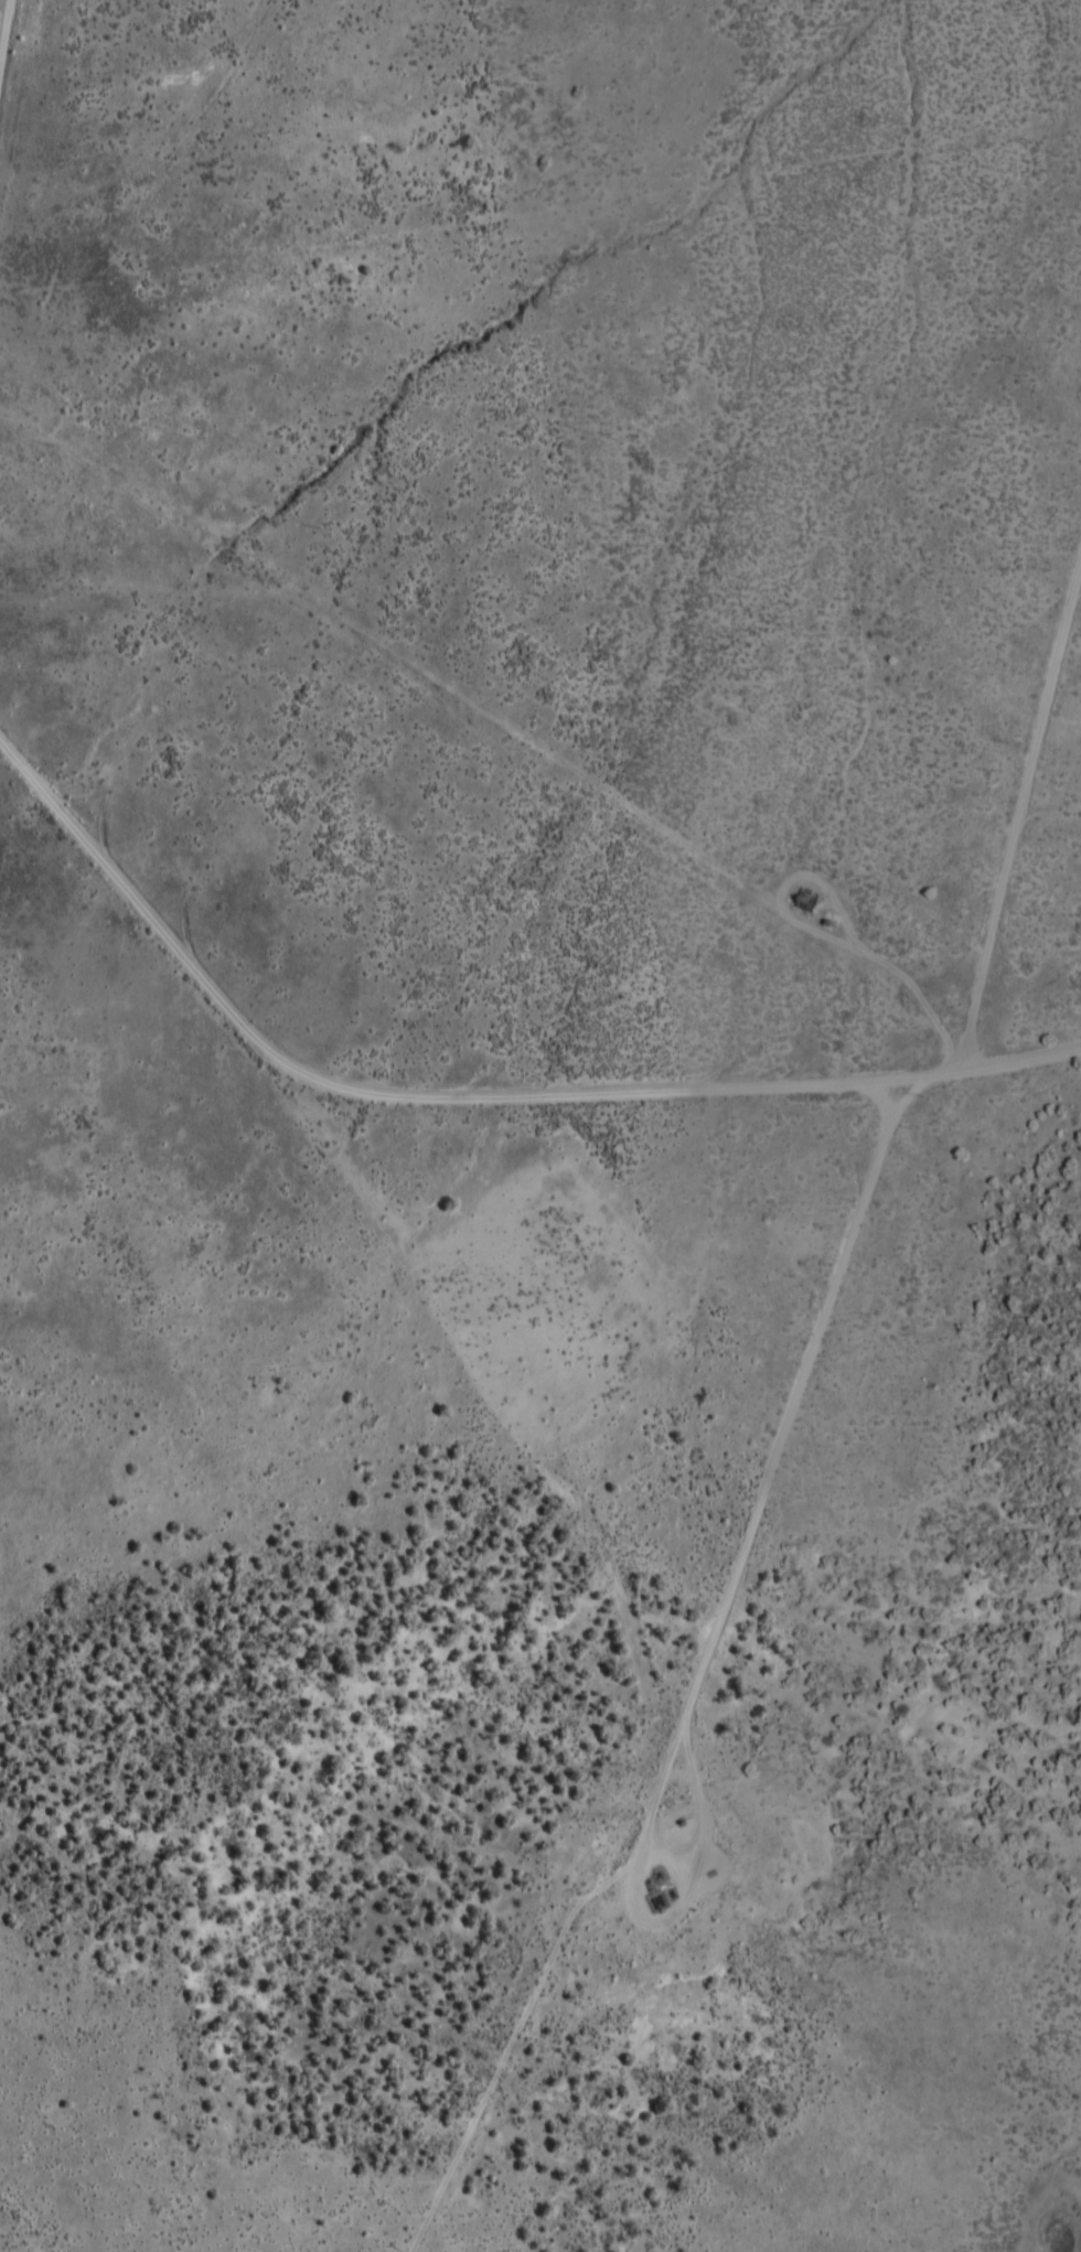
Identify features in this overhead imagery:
road: (1016, 789)
road: (470, 1071)
road: (678, 1741)

